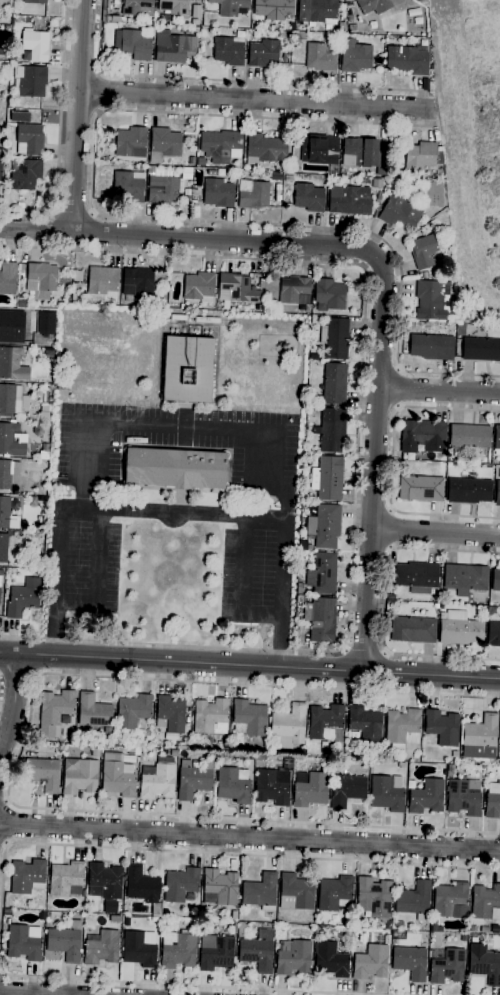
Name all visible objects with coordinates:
building: (34, 1)
building: (373, 6)
building: (174, 7)
building: (229, 7)
building: (137, 8)
building: (274, 9)
building: (318, 11)
building: (113, 19)
building: (350, 19)
building: (371, 25)
building: (352, 28)
building: (196, 30)
building: (7, 31)
building: (282, 35)
building: (295, 43)
building: (36, 45)
building: (132, 45)
building: (173, 47)
building: (228, 51)
building: (264, 54)
building: (285, 56)
building: (355, 57)
building: (13, 58)
building: (320, 58)
building: (378, 60)
building: (407, 61)
building: (1, 65)
road: (225, 81)
building: (32, 82)
road: (98, 91)
road: (421, 92)
road: (254, 99)
road: (77, 115)
road: (429, 126)
building: (2, 130)
road: (59, 131)
building: (29, 140)
building: (131, 143)
building: (163, 145)
park: (470, 145)
building: (221, 146)
building: (265, 149)
building: (322, 150)
building: (8, 151)
building: (364, 154)
building: (423, 156)
building: (192, 161)
building: (200, 162)
building: (109, 166)
building: (120, 166)
building: (1, 169)
building: (286, 169)
building: (211, 172)
building: (26, 174)
building: (288, 178)
building: (376, 184)
building: (129, 186)
building: (163, 187)
building: (218, 193)
building: (253, 195)
building: (308, 198)
building: (378, 198)
building: (6, 200)
building: (349, 200)
building: (20, 205)
road: (72, 211)
building: (195, 212)
building: (400, 212)
road: (139, 217)
building: (424, 252)
road: (383, 274)
building: (78, 276)
building: (8, 278)
building: (41, 278)
building: (102, 280)
building: (137, 283)
building: (261, 283)
building: (199, 287)
building: (237, 289)
building: (293, 289)
building: (329, 294)
building: (429, 301)
building: (22, 304)
building: (182, 307)
building: (9, 326)
building: (336, 339)
building: (432, 347)
building: (481, 349)
building: (12, 365)
building: (188, 369)
building: (334, 384)
road: (399, 388)
road: (439, 391)
building: (10, 400)
road: (177, 427)
building: (330, 430)
building: (423, 436)
building: (469, 436)
building: (497, 438)
building: (10, 441)
road: (357, 448)
road: (391, 462)
building: (495, 462)
building: (174, 469)
building: (8, 473)
building: (327, 479)
building: (420, 488)
building: (468, 491)
building: (497, 493)
road: (184, 514)
building: (7, 515)
building: (324, 526)
road: (392, 530)
road: (435, 533)
building: (305, 545)
building: (3, 548)
building: (1, 572)
building: (322, 574)
road: (97, 576)
building: (417, 577)
building: (465, 579)
building: (0, 580)
building: (496, 580)
road: (243, 585)
building: (300, 589)
building: (23, 598)
road: (384, 604)
building: (435, 606)
building: (490, 610)
building: (321, 619)
building: (460, 629)
building: (413, 630)
building: (493, 634)
road: (364, 651)
road: (249, 666)
road: (17, 677)
road: (12, 704)
building: (54, 712)
building: (93, 712)
building: (132, 712)
building: (170, 714)
building: (211, 717)
building: (248, 718)
building: (325, 723)
building: (365, 723)
building: (289, 725)
building: (442, 727)
building: (402, 728)
building: (107, 732)
building: (499, 732)
building: (354, 735)
building: (480, 738)
building: (323, 745)
building: (181, 746)
building: (95, 752)
building: (133, 752)
road: (18, 753)
building: (455, 754)
building: (211, 755)
building: (385, 755)
building: (251, 757)
building: (260, 758)
building: (137, 759)
building: (449, 768)
building: (43, 774)
building: (117, 776)
building: (81, 778)
building: (193, 780)
building: (158, 783)
building: (274, 784)
building: (234, 785)
building: (310, 789)
building: (347, 790)
building: (386, 795)
building: (426, 797)
building: (463, 799)
building: (492, 801)
road: (7, 823)
road: (250, 837)
road: (204, 853)
building: (27, 877)
building: (66, 879)
building: (104, 881)
building: (180, 884)
building: (219, 888)
building: (143, 889)
building: (298, 890)
building: (260, 892)
building: (335, 894)
building: (373, 897)
building: (414, 901)
building: (451, 901)
building: (484, 901)
building: (48, 915)
building: (43, 916)
building: (233, 916)
building: (338, 919)
building: (126, 921)
building: (398, 924)
building: (388, 925)
building: (234, 928)
building: (241, 928)
building: (434, 928)
building: (473, 929)
building: (484, 929)
building: (316, 937)
building: (387, 939)
building: (66, 941)
building: (393, 941)
building: (23, 944)
building: (102, 948)
building: (177, 950)
building: (138, 951)
building: (257, 951)
building: (215, 952)
building: (293, 957)
building: (330, 960)
building: (370, 963)
building: (410, 963)
building: (484, 964)
building: (448, 967)
road: (0, 975)
road: (180, 985)
road: (26, 993)

